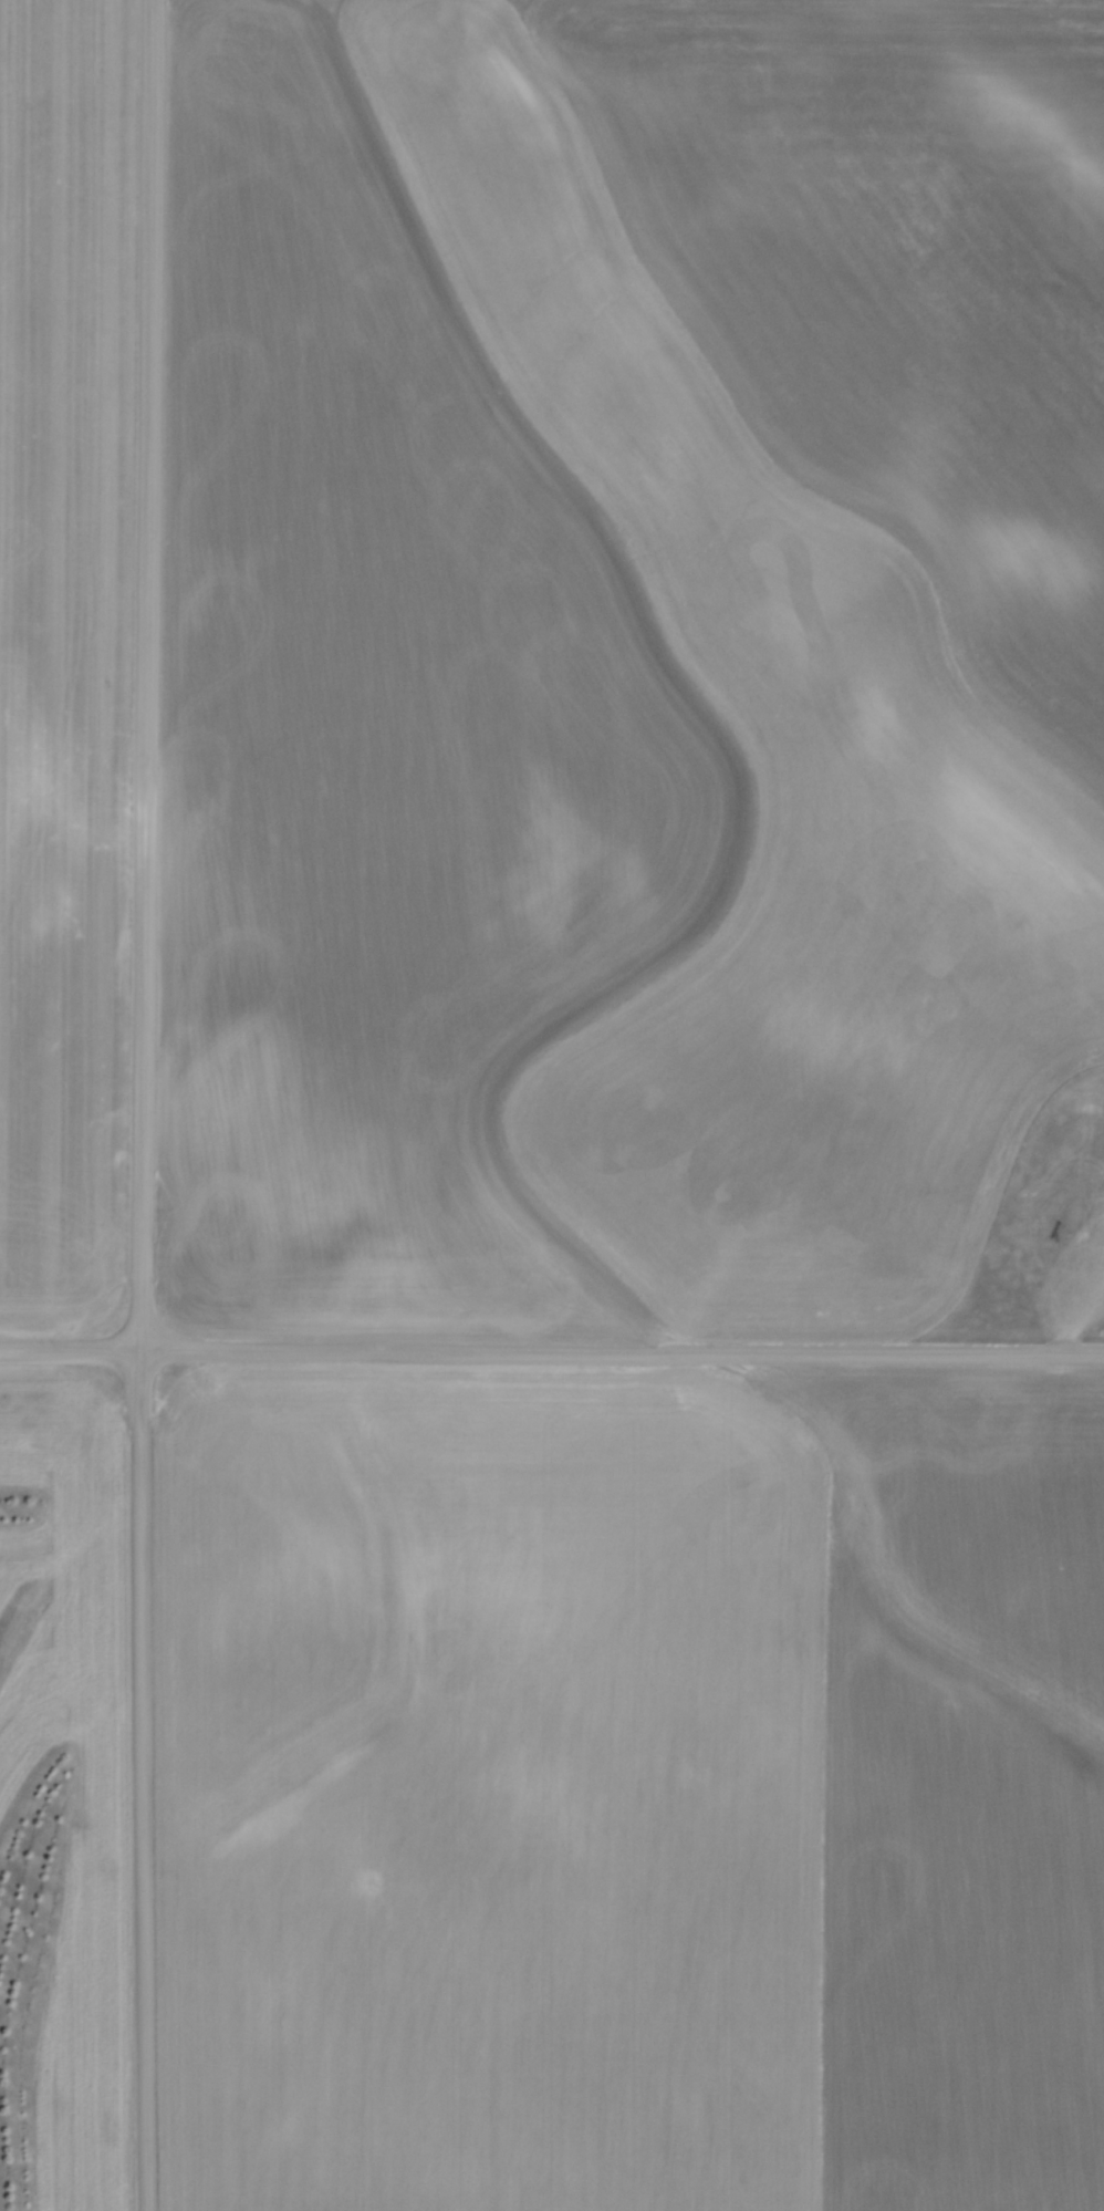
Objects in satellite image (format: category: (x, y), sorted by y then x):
crop: (64, 650)
crop: (625, 654)
road: (144, 1104)
road: (71, 1349)
road: (623, 1349)
crop: (628, 1787)

